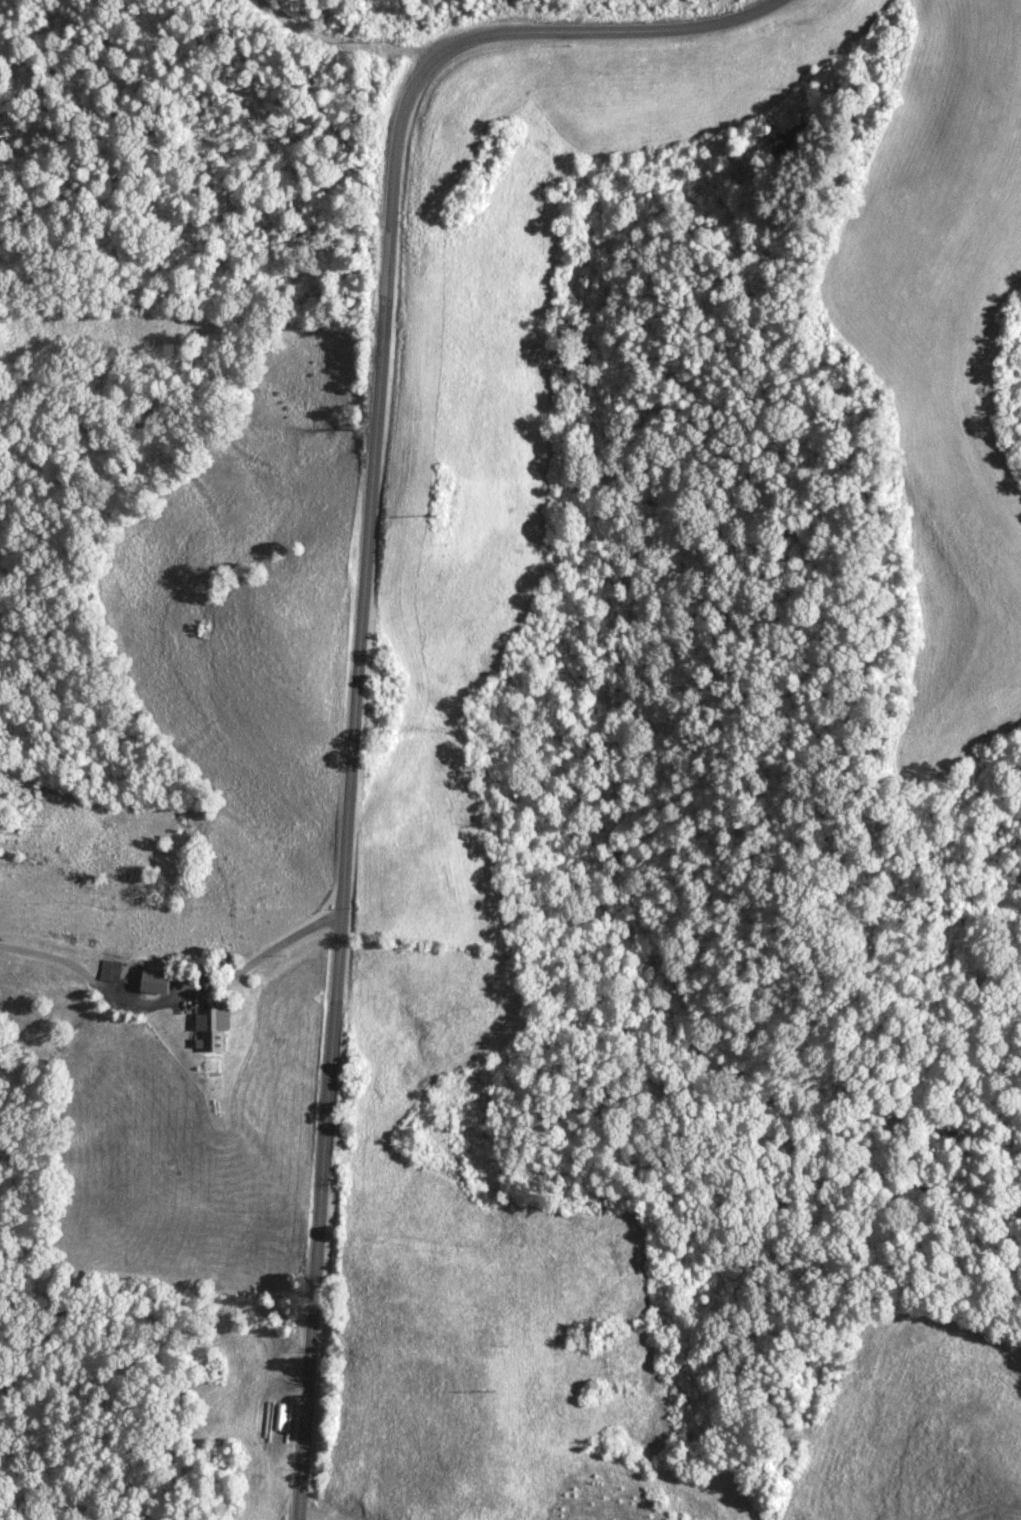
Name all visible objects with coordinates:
road: (421, 631)
building: (85, 761)
road: (263, 961)
building: (114, 972)
building: (209, 1031)

